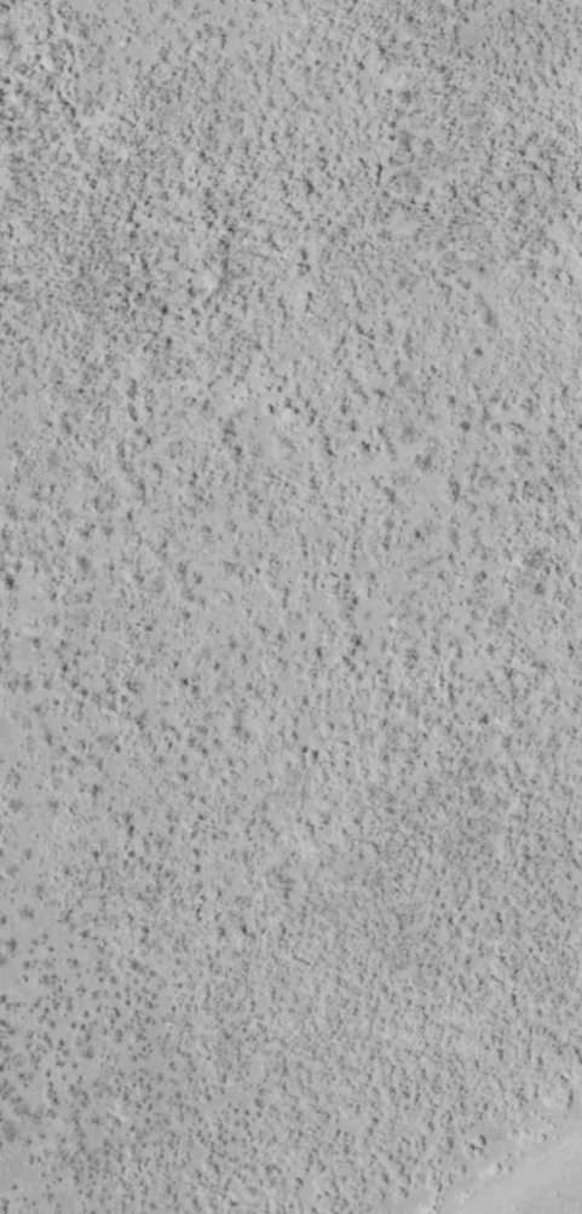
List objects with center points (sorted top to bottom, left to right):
road: (525, 1176)

